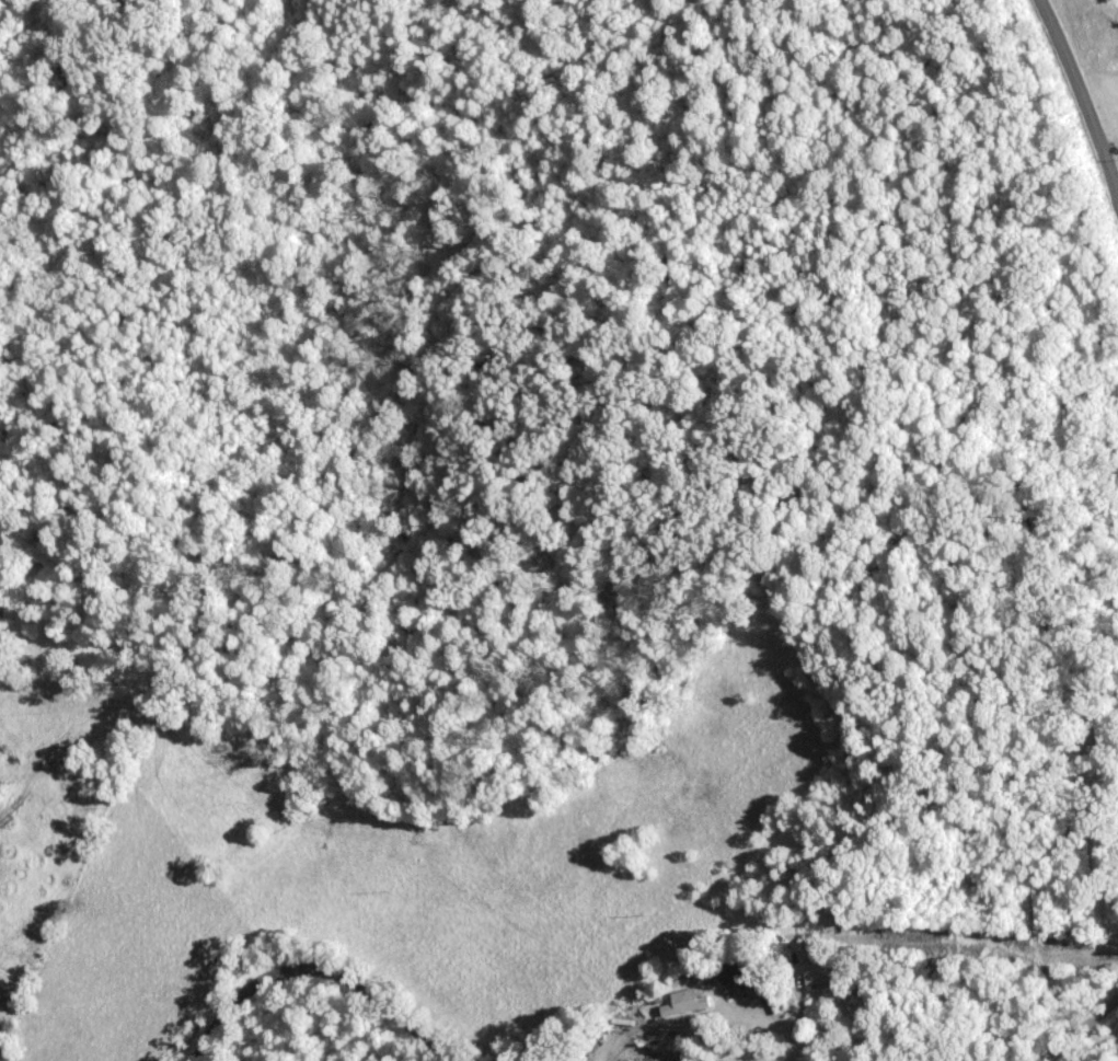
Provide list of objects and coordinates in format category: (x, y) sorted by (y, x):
road: (1082, 94)
road: (313, 970)
building: (822, 972)
building: (737, 978)
road: (1077, 1028)

